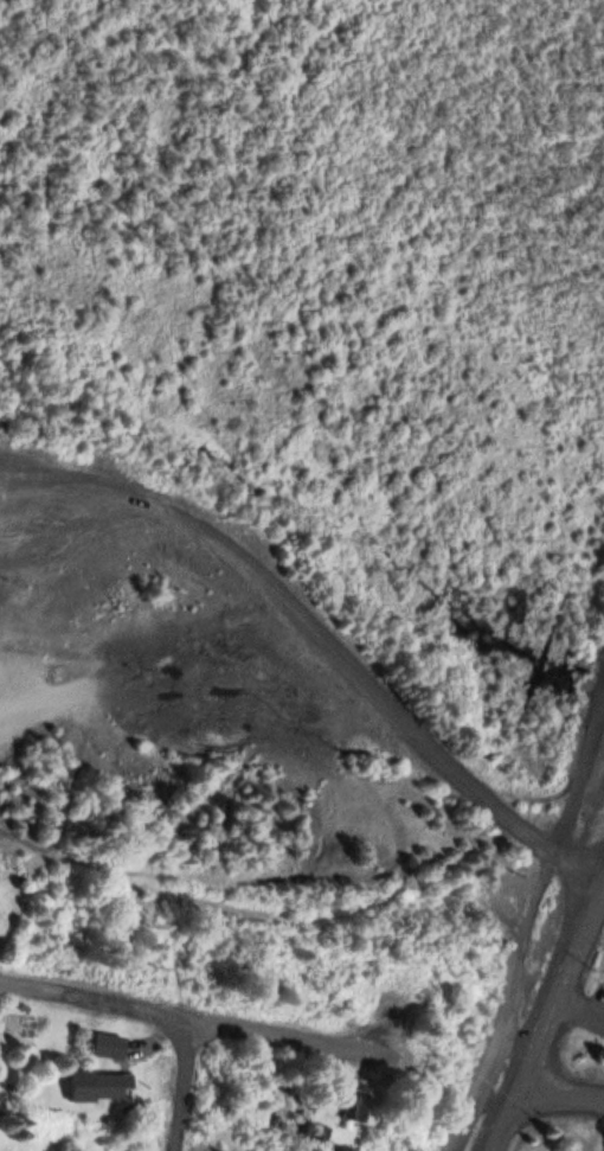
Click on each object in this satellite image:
road: (56, 485)
road: (56, 511)
parking lot: (40, 516)
road: (361, 684)
road: (528, 926)
road: (189, 1006)
parking lot: (592, 1009)
road: (579, 1012)
road: (545, 1018)
building: (105, 1042)
road: (189, 1080)
building: (96, 1081)
building: (342, 1095)
road: (557, 1099)
building: (310, 1130)

